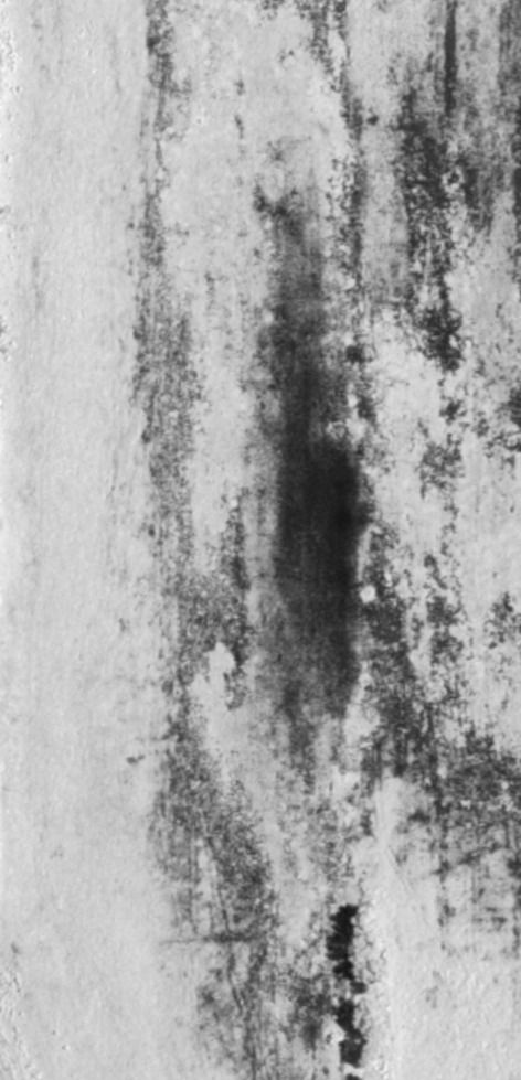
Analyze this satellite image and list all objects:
road: (9, 1060)

